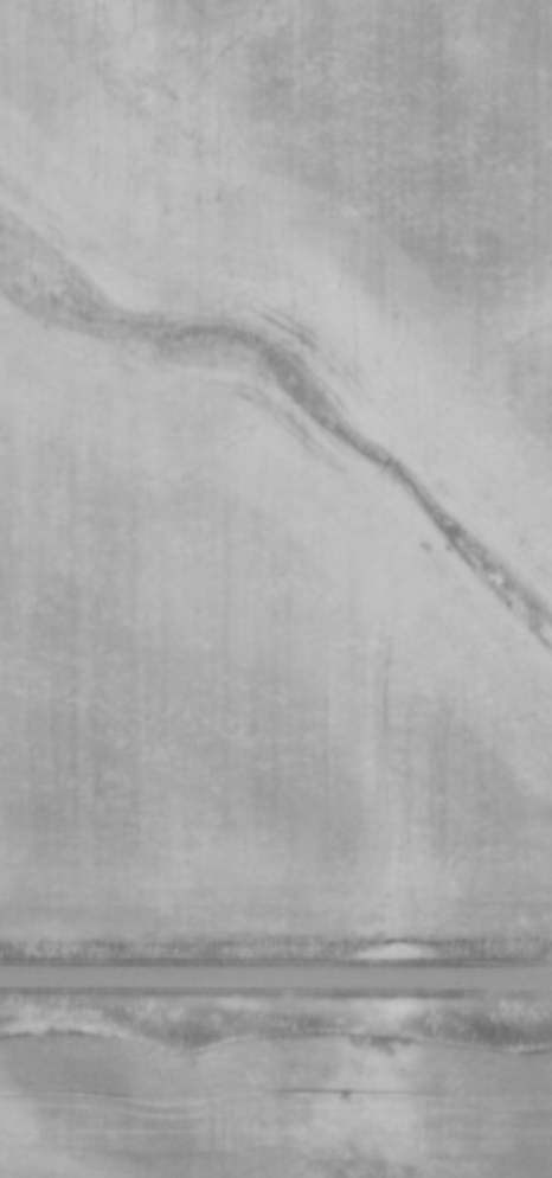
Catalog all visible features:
road: (276, 973)

